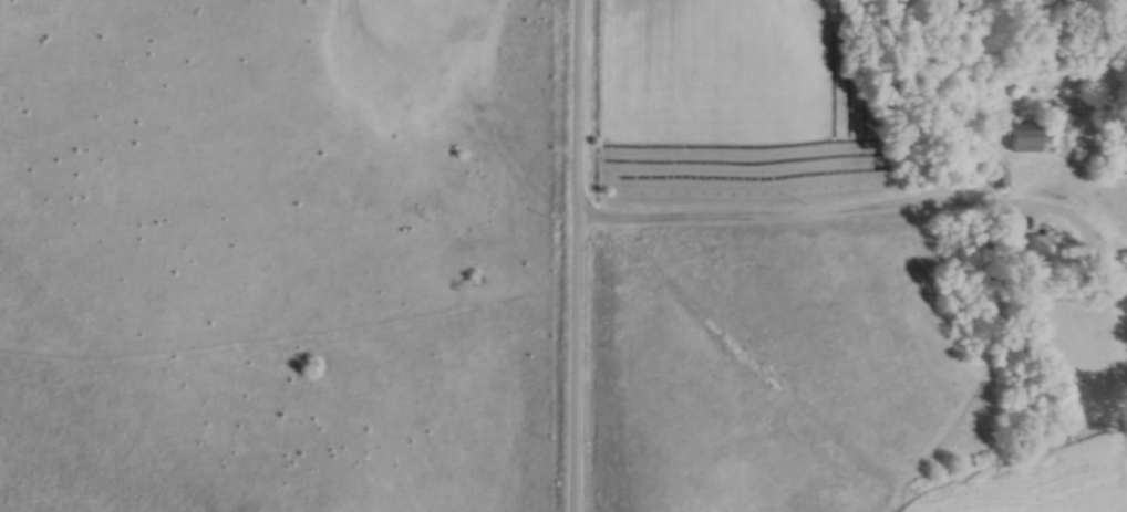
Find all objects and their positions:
road: (577, 93)
building: (1025, 139)
building: (1001, 176)
road: (802, 218)
building: (1048, 245)

